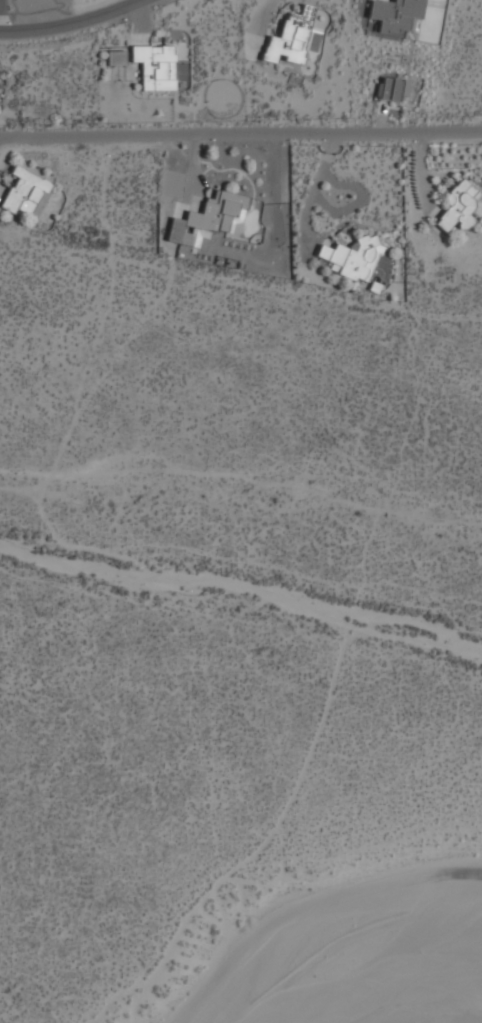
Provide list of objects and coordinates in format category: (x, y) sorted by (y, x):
road: (57, 15)
building: (396, 15)
building: (287, 42)
building: (115, 58)
building: (156, 66)
building: (393, 89)
road: (241, 129)
building: (26, 193)
building: (458, 207)
building: (207, 220)
building: (352, 258)
river: (385, 974)

